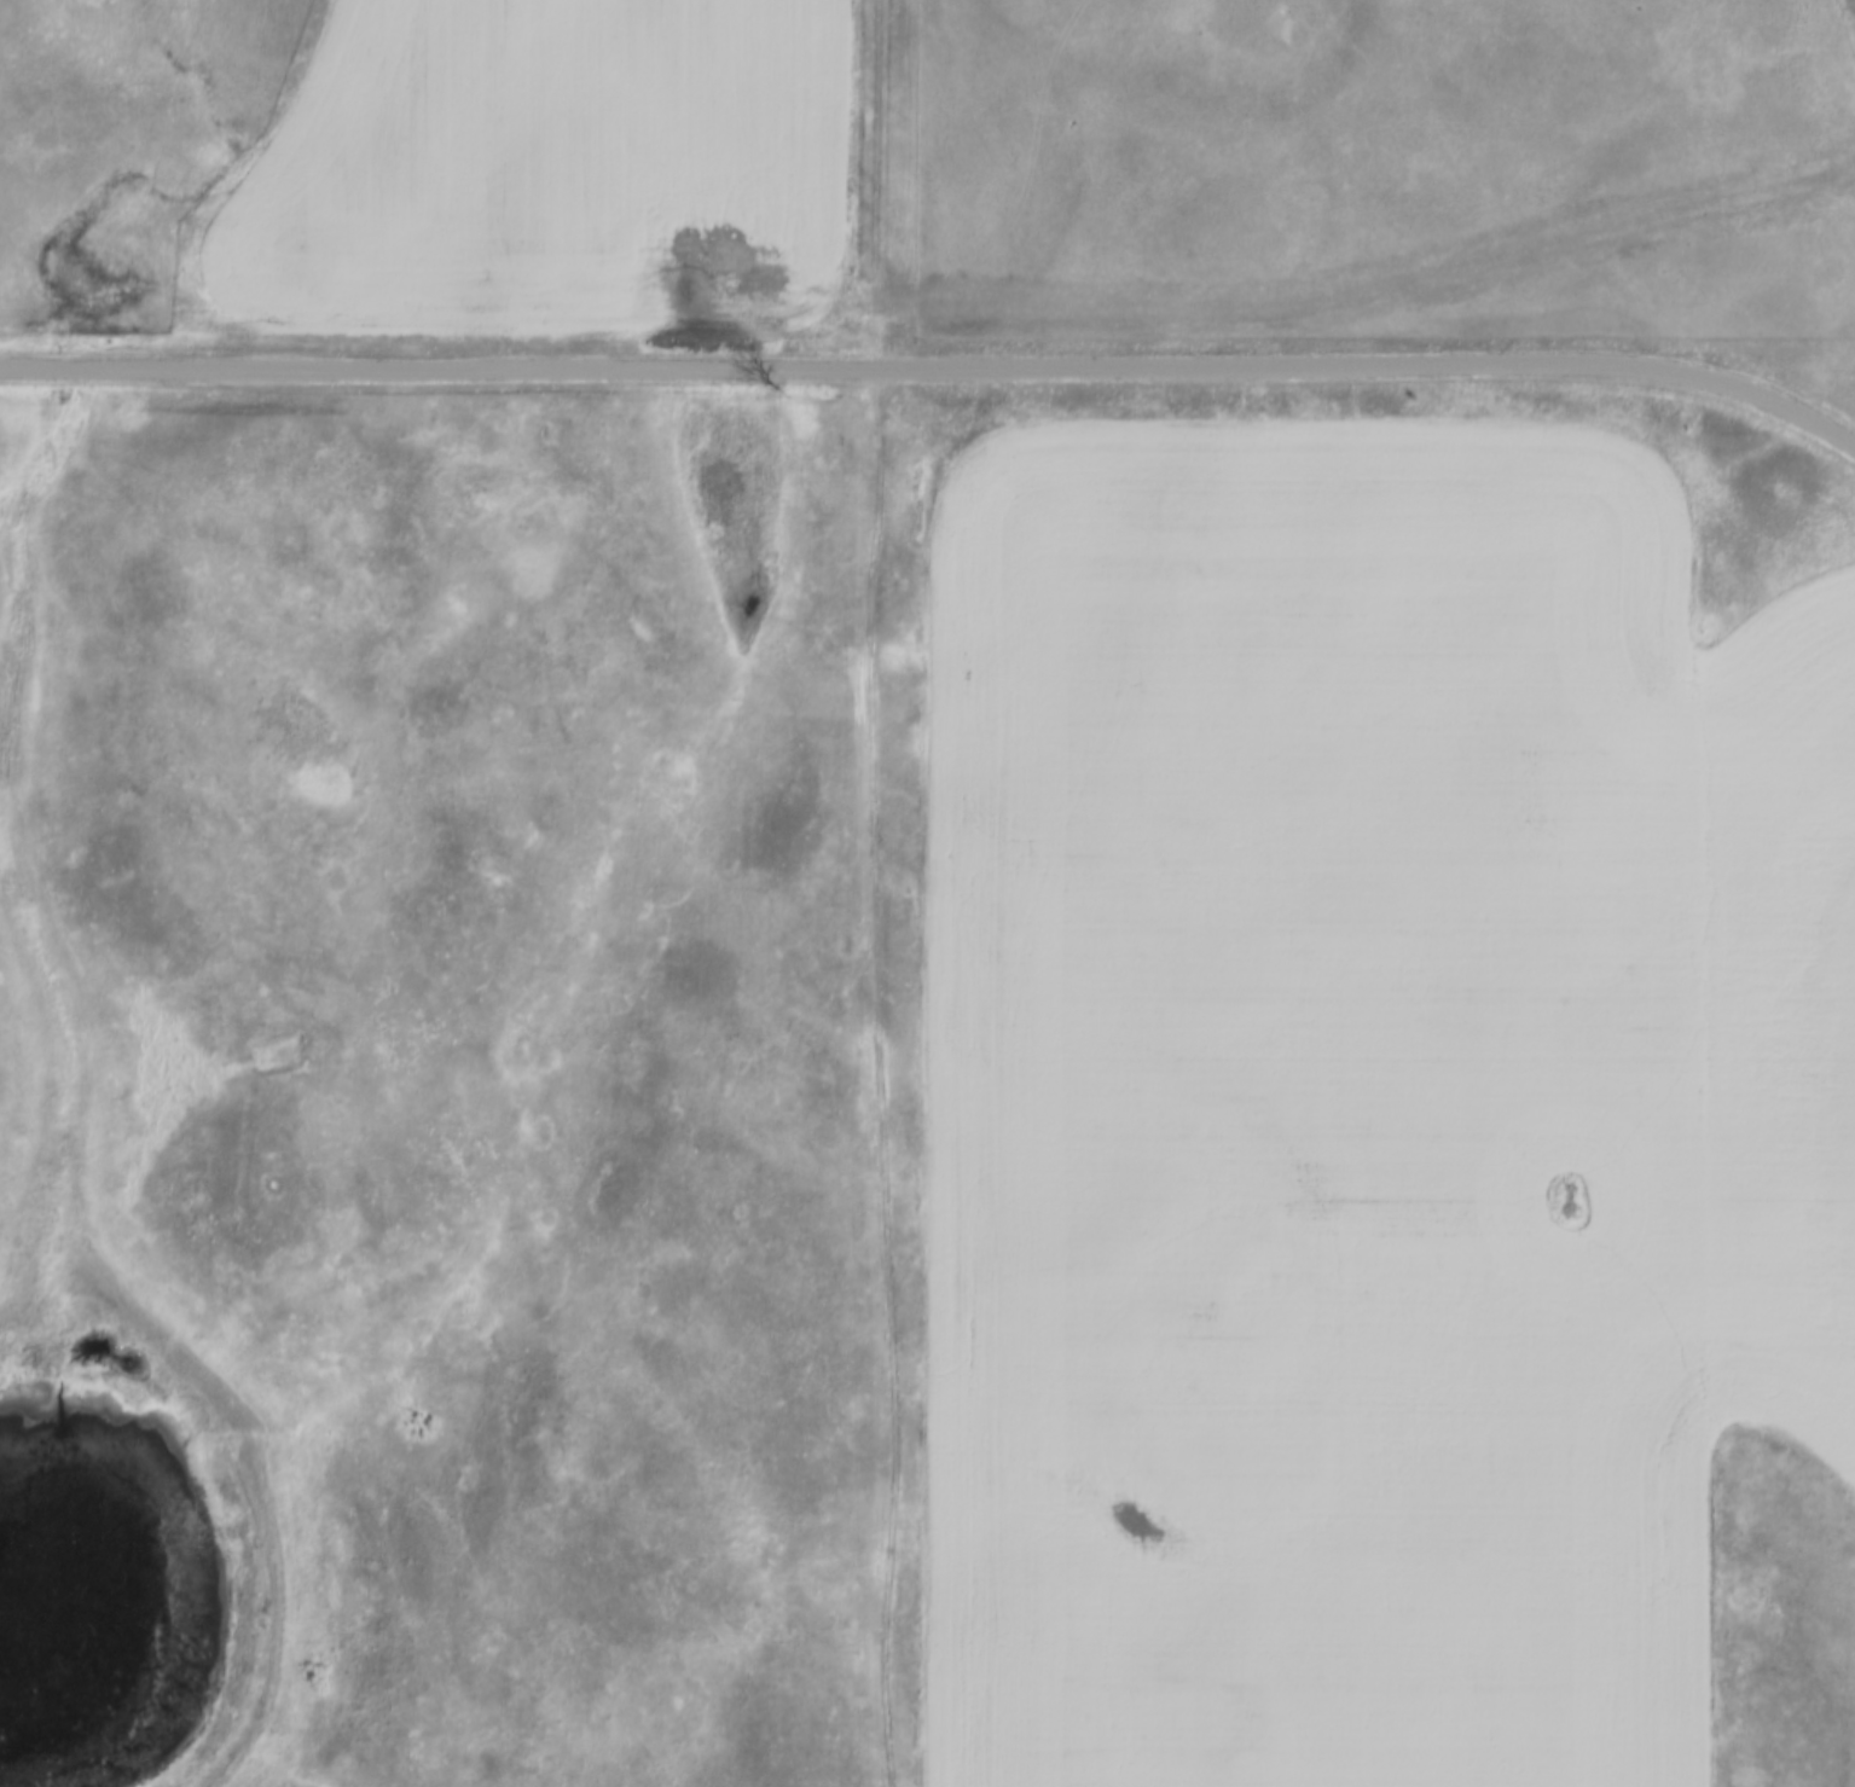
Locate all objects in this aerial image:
road: (1373, 367)
road: (437, 369)
road: (876, 893)

